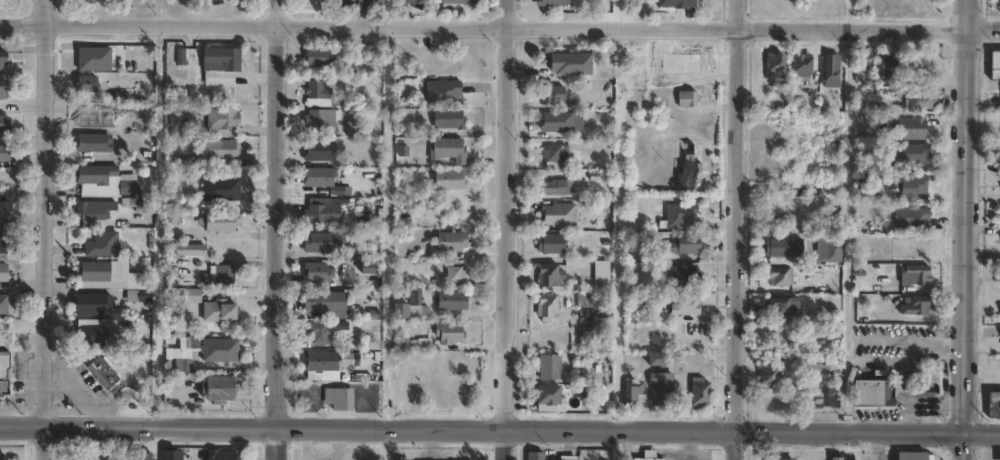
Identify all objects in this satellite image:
building: (410, 1)
building: (458, 1)
building: (85, 2)
building: (347, 2)
building: (377, 3)
building: (551, 3)
building: (674, 3)
road: (41, 10)
road: (389, 13)
road: (968, 15)
road: (484, 26)
road: (984, 31)
building: (186, 59)
building: (220, 59)
building: (2, 60)
building: (327, 62)
building: (572, 63)
building: (772, 64)
building: (803, 64)
building: (886, 64)
building: (994, 64)
building: (686, 66)
building: (832, 68)
building: (86, 84)
building: (2, 89)
building: (317, 90)
building: (443, 91)
building: (551, 93)
building: (924, 98)
building: (688, 99)
building: (320, 119)
building: (448, 119)
building: (222, 121)
building: (561, 122)
building: (3, 123)
building: (910, 127)
building: (929, 127)
building: (354, 129)
building: (92, 143)
building: (221, 149)
building: (447, 149)
building: (318, 151)
building: (916, 152)
building: (4, 153)
building: (556, 154)
building: (689, 168)
building: (321, 180)
building: (449, 180)
building: (105, 182)
building: (910, 185)
building: (557, 187)
building: (220, 189)
building: (171, 198)
building: (91, 211)
building: (5, 212)
building: (325, 212)
building: (680, 214)
building: (559, 215)
building: (912, 218)
building: (999, 220)
building: (220, 222)
road: (384, 227)
road: (42, 229)
road: (276, 230)
road: (509, 230)
road: (734, 230)
road: (967, 233)
building: (451, 242)
building: (322, 243)
building: (552, 243)
building: (3, 244)
building: (102, 244)
building: (685, 244)
building: (190, 249)
building: (785, 251)
building: (834, 252)
building: (3, 272)
building: (316, 273)
building: (916, 274)
building: (454, 275)
building: (549, 275)
building: (105, 276)
building: (219, 276)
building: (685, 276)
building: (782, 277)
building: (138, 296)
building: (192, 296)
building: (585, 300)
building: (452, 301)
building: (325, 303)
building: (3, 304)
building: (686, 305)
building: (94, 306)
building: (916, 306)
building: (409, 307)
building: (547, 307)
building: (784, 307)
building: (220, 312)
building: (658, 316)
building: (91, 332)
building: (318, 332)
building: (450, 335)
building: (186, 345)
building: (423, 345)
building: (220, 350)
building: (656, 359)
building: (317, 362)
building: (3, 364)
building: (687, 364)
building: (183, 365)
building: (817, 365)
building: (550, 367)
building: (106, 374)
building: (768, 376)
building: (3, 387)
building: (661, 389)
building: (217, 390)
building: (699, 392)
building: (632, 394)
building: (548, 395)
building: (873, 395)
building: (339, 399)
building: (833, 399)
building: (993, 404)
road: (482, 430)
road: (983, 435)
road: (846, 447)
road: (965, 447)
building: (172, 454)
building: (221, 454)
building: (363, 454)
building: (142, 455)
building: (535, 455)
building: (910, 455)
building: (1, 456)
building: (90, 458)
building: (646, 458)
building: (837, 458)
building: (568, 459)
building: (782, 459)

